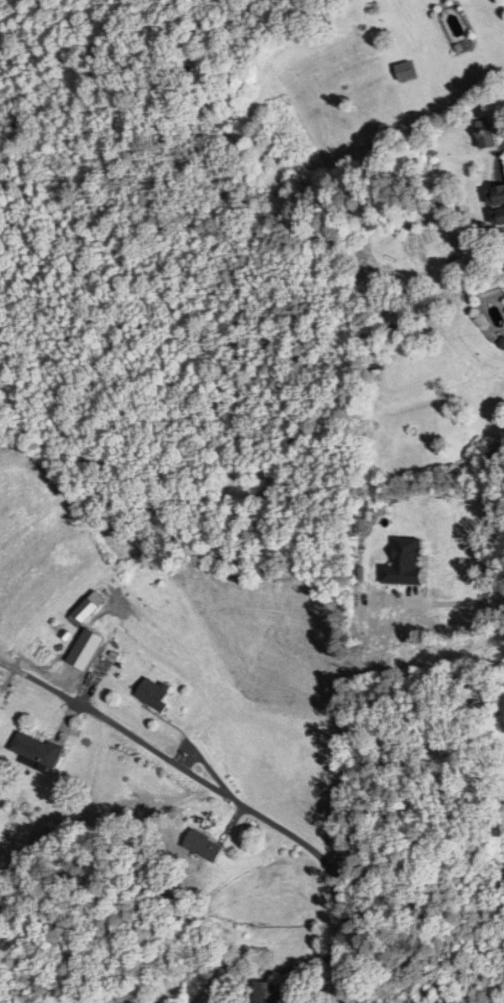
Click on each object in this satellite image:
building: (403, 71)
building: (485, 133)
road: (458, 602)
building: (86, 608)
building: (100, 664)
building: (152, 694)
building: (35, 748)
road: (226, 796)
building: (203, 846)
building: (264, 992)

